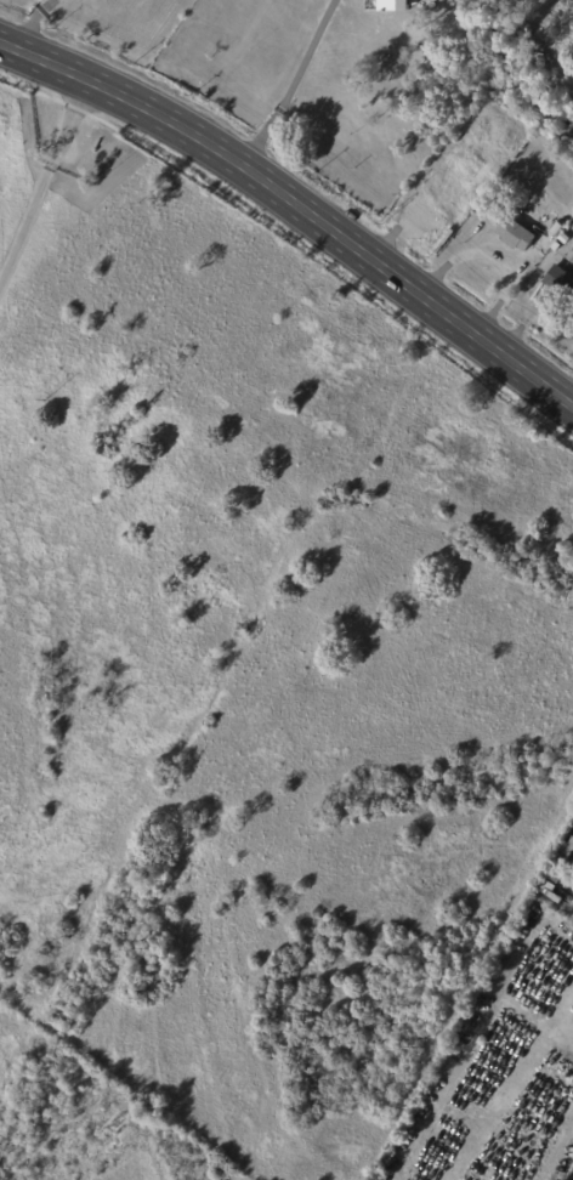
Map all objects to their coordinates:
building: (395, 4)
road: (34, 22)
road: (291, 85)
road: (44, 181)
road: (296, 205)
building: (562, 232)
building: (518, 234)
road: (498, 256)
building: (560, 280)
park: (242, 671)
building: (569, 850)

